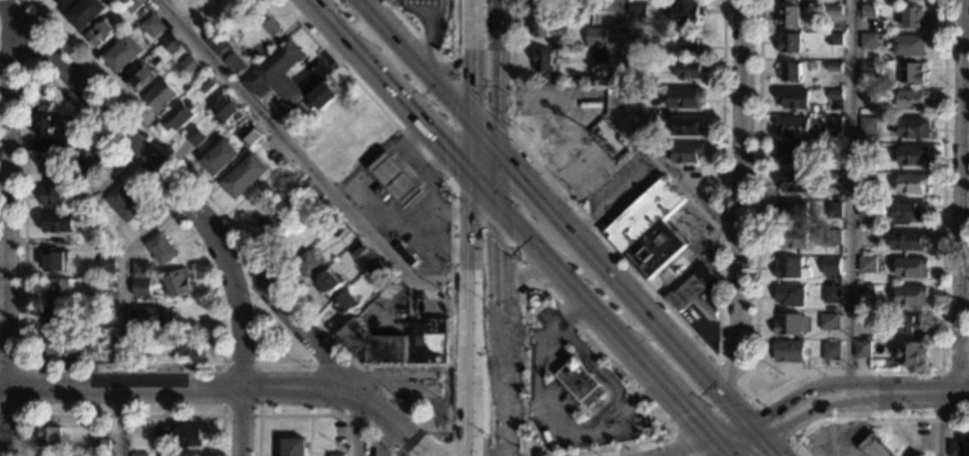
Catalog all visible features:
building: (789, 0)
building: (426, 2)
building: (64, 3)
building: (130, 5)
building: (869, 8)
building: (638, 9)
building: (836, 9)
building: (688, 12)
building: (85, 13)
building: (790, 15)
building: (914, 16)
building: (543, 25)
building: (150, 26)
building: (270, 28)
road: (339, 34)
building: (100, 35)
building: (596, 35)
building: (636, 37)
building: (835, 38)
building: (690, 39)
building: (790, 41)
building: (869, 41)
building: (170, 44)
building: (216, 44)
building: (909, 44)
road: (14, 45)
building: (123, 54)
road: (437, 54)
building: (600, 54)
building: (544, 59)
road: (417, 60)
road: (472, 60)
building: (637, 64)
building: (188, 65)
building: (233, 65)
road: (457, 65)
building: (836, 65)
building: (869, 66)
building: (691, 68)
road: (453, 70)
building: (790, 70)
building: (912, 72)
building: (275, 73)
road: (495, 74)
building: (136, 75)
road: (456, 82)
building: (206, 85)
building: (629, 94)
building: (836, 94)
building: (868, 95)
building: (158, 96)
building: (685, 96)
building: (794, 96)
building: (320, 97)
building: (34, 99)
building: (914, 99)
building: (44, 103)
building: (227, 110)
building: (176, 116)
road: (109, 121)
building: (646, 121)
traffic signals: (472, 122)
road: (421, 124)
building: (793, 124)
building: (834, 124)
road: (25, 125)
building: (43, 125)
building: (688, 125)
building: (868, 125)
building: (914, 127)
road: (639, 132)
building: (247, 136)
road: (483, 136)
building: (655, 136)
building: (194, 137)
building: (608, 138)
building: (67, 143)
building: (43, 146)
building: (836, 148)
traffic signals: (495, 150)
building: (683, 150)
road: (472, 151)
building: (793, 153)
building: (913, 154)
building: (219, 157)
road: (415, 159)
road: (301, 162)
building: (85, 163)
building: (868, 164)
building: (49, 168)
building: (244, 177)
building: (821, 177)
traffic signals: (472, 180)
road: (496, 180)
building: (794, 180)
building: (833, 180)
building: (394, 181)
building: (912, 182)
road: (534, 191)
road: (430, 193)
building: (53, 195)
road: (485, 195)
road: (965, 195)
road: (739, 197)
road: (851, 200)
building: (122, 204)
building: (833, 208)
building: (867, 208)
building: (793, 209)
building: (910, 210)
traffic signals: (498, 211)
building: (271, 221)
building: (58, 223)
road: (400, 225)
road: (429, 227)
building: (648, 229)
building: (336, 231)
building: (792, 237)
building: (833, 237)
road: (10, 238)
building: (907, 239)
road: (450, 247)
building: (160, 250)
building: (356, 250)
building: (404, 254)
building: (54, 262)
building: (105, 263)
building: (866, 263)
building: (306, 265)
building: (831, 265)
building: (789, 267)
building: (911, 267)
building: (140, 269)
building: (375, 270)
road: (523, 272)
road: (501, 279)
building: (328, 282)
building: (104, 283)
building: (176, 285)
road: (511, 286)
road: (568, 287)
building: (56, 288)
building: (141, 288)
building: (867, 289)
building: (697, 292)
building: (790, 294)
building: (832, 294)
building: (911, 295)
building: (345, 303)
road: (289, 310)
building: (103, 313)
road: (121, 314)
building: (147, 316)
building: (56, 317)
road: (470, 318)
building: (865, 320)
building: (828, 321)
building: (791, 323)
building: (912, 324)
road: (660, 328)
road: (689, 328)
road: (549, 332)
road: (523, 339)
building: (399, 344)
building: (91, 345)
building: (139, 345)
building: (60, 346)
road: (241, 346)
building: (189, 347)
building: (862, 348)
building: (788, 350)
building: (831, 350)
building: (910, 352)
road: (287, 365)
road: (372, 365)
road: (360, 366)
road: (729, 371)
road: (848, 371)
road: (954, 372)
road: (602, 375)
road: (413, 381)
road: (448, 382)
road: (179, 383)
building: (579, 383)
road: (818, 386)
road: (21, 389)
road: (933, 391)
road: (762, 395)
road: (535, 399)
road: (506, 401)
road: (675, 401)
road: (736, 404)
road: (826, 404)
road: (521, 406)
road: (626, 410)
road: (221, 414)
road: (121, 415)
road: (314, 415)
road: (867, 419)
road: (355, 420)
road: (395, 421)
traffic signals: (747, 423)
road: (940, 423)
building: (444, 428)
building: (662, 431)
road: (729, 431)
road: (754, 431)
building: (167, 434)
road: (435, 434)
building: (189, 435)
building: (50, 436)
traffic signals: (712, 439)
traffic signals: (762, 439)
building: (101, 444)
building: (876, 446)
building: (294, 447)
road: (688, 447)
road: (719, 447)
road: (744, 447)
road: (769, 447)
building: (958, 448)
road: (476, 449)
building: (140, 454)
building: (52, 455)
building: (102, 455)
building: (182, 455)
building: (336, 455)
traffic signals: (727, 455)
building: (921, 455)
building: (923, 455)

